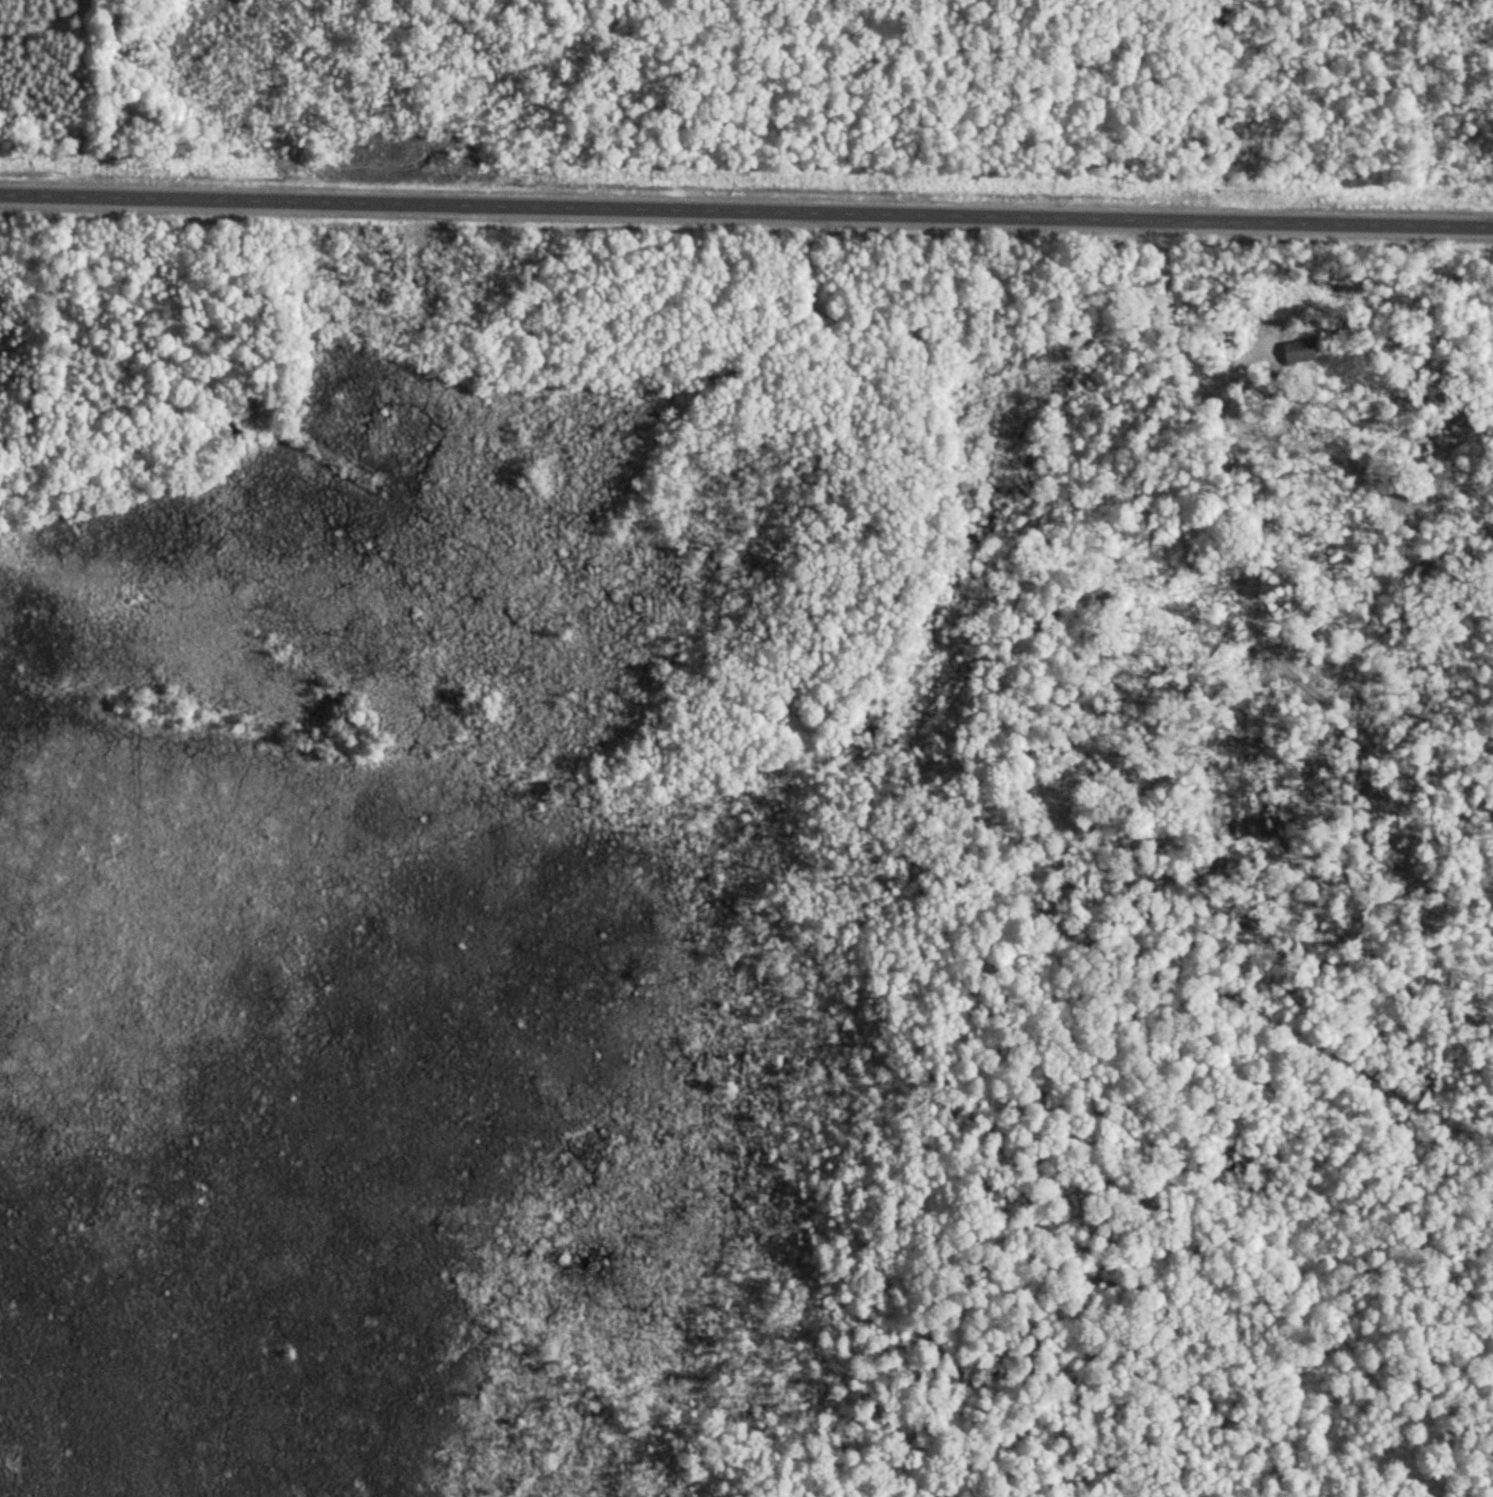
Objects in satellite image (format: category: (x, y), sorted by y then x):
road: (746, 213)
building: (1306, 353)
road: (1322, 548)

